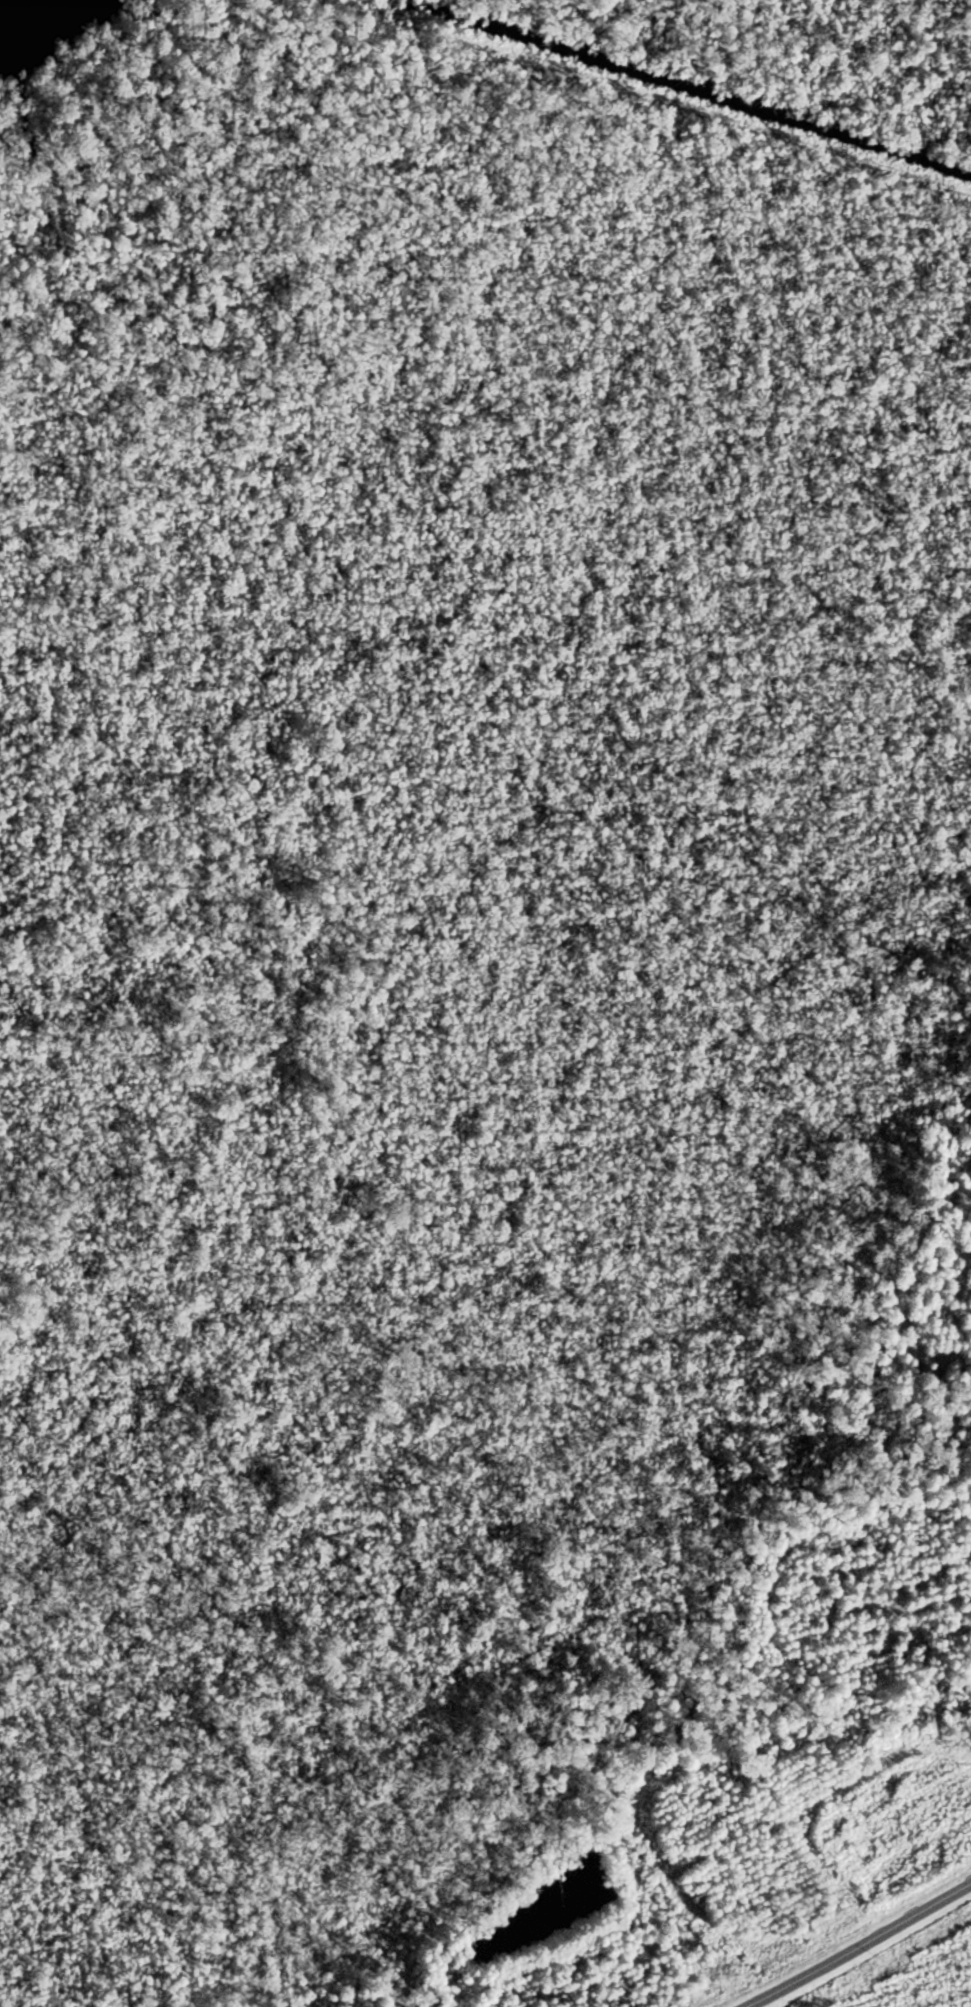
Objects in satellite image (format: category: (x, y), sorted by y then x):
road: (853, 1946)

